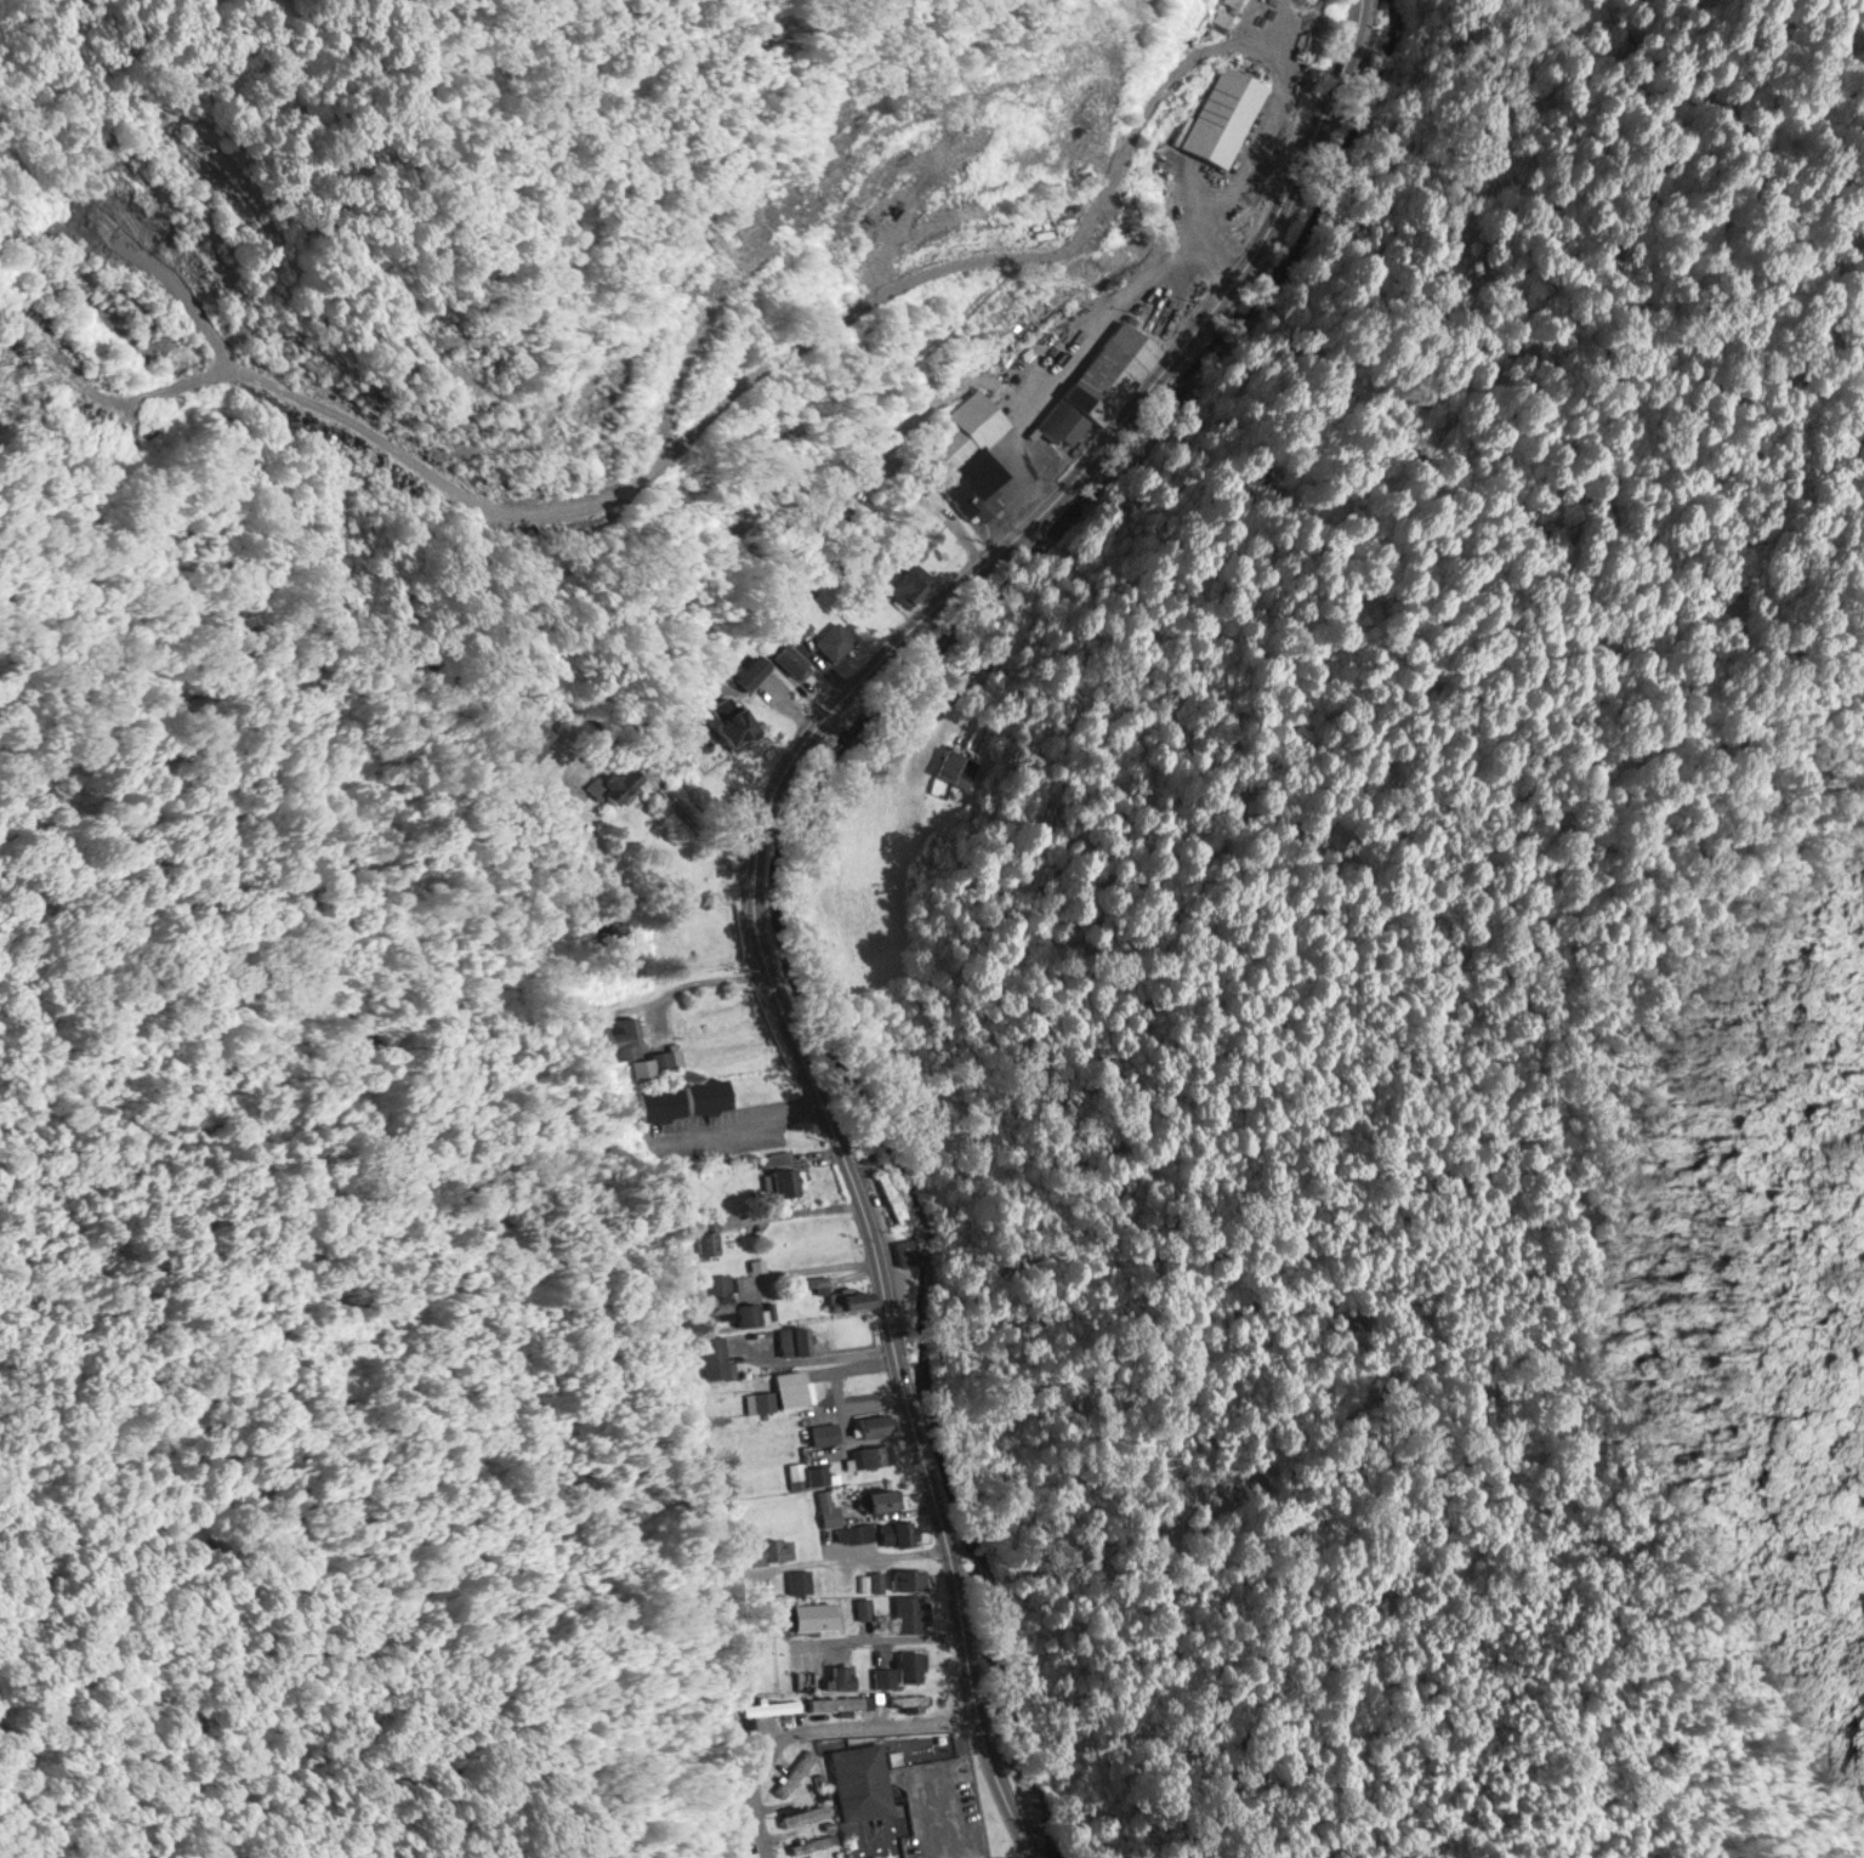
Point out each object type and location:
building: (1220, 10)
building: (1224, 117)
building: (1099, 385)
building: (966, 456)
road: (1067, 488)
building: (910, 585)
building: (835, 641)
building: (794, 644)
building: (750, 672)
building: (724, 721)
building: (530, 742)
building: (959, 767)
building: (591, 783)
road: (691, 814)
building: (620, 1046)
road: (739, 1124)
building: (778, 1174)
building: (704, 1238)
building: (907, 1250)
building: (839, 1295)
building: (724, 1300)
building: (789, 1340)
building: (714, 1357)
building: (779, 1397)
road: (910, 1399)
building: (875, 1425)
building: (824, 1432)
building: (772, 1437)
building: (870, 1455)
building: (818, 1475)
building: (879, 1500)
building: (853, 1533)
building: (896, 1533)
building: (765, 1547)
building: (799, 1579)
building: (908, 1579)
building: (871, 1580)
building: (863, 1607)
building: (909, 1612)
building: (807, 1615)
building: (902, 1667)
building: (839, 1675)
building: (812, 1677)
building: (840, 1700)
building: (769, 1705)
road: (815, 1727)
building: (795, 1771)
building: (859, 1780)
building: (805, 1813)
building: (811, 1843)
building: (741, 1845)

